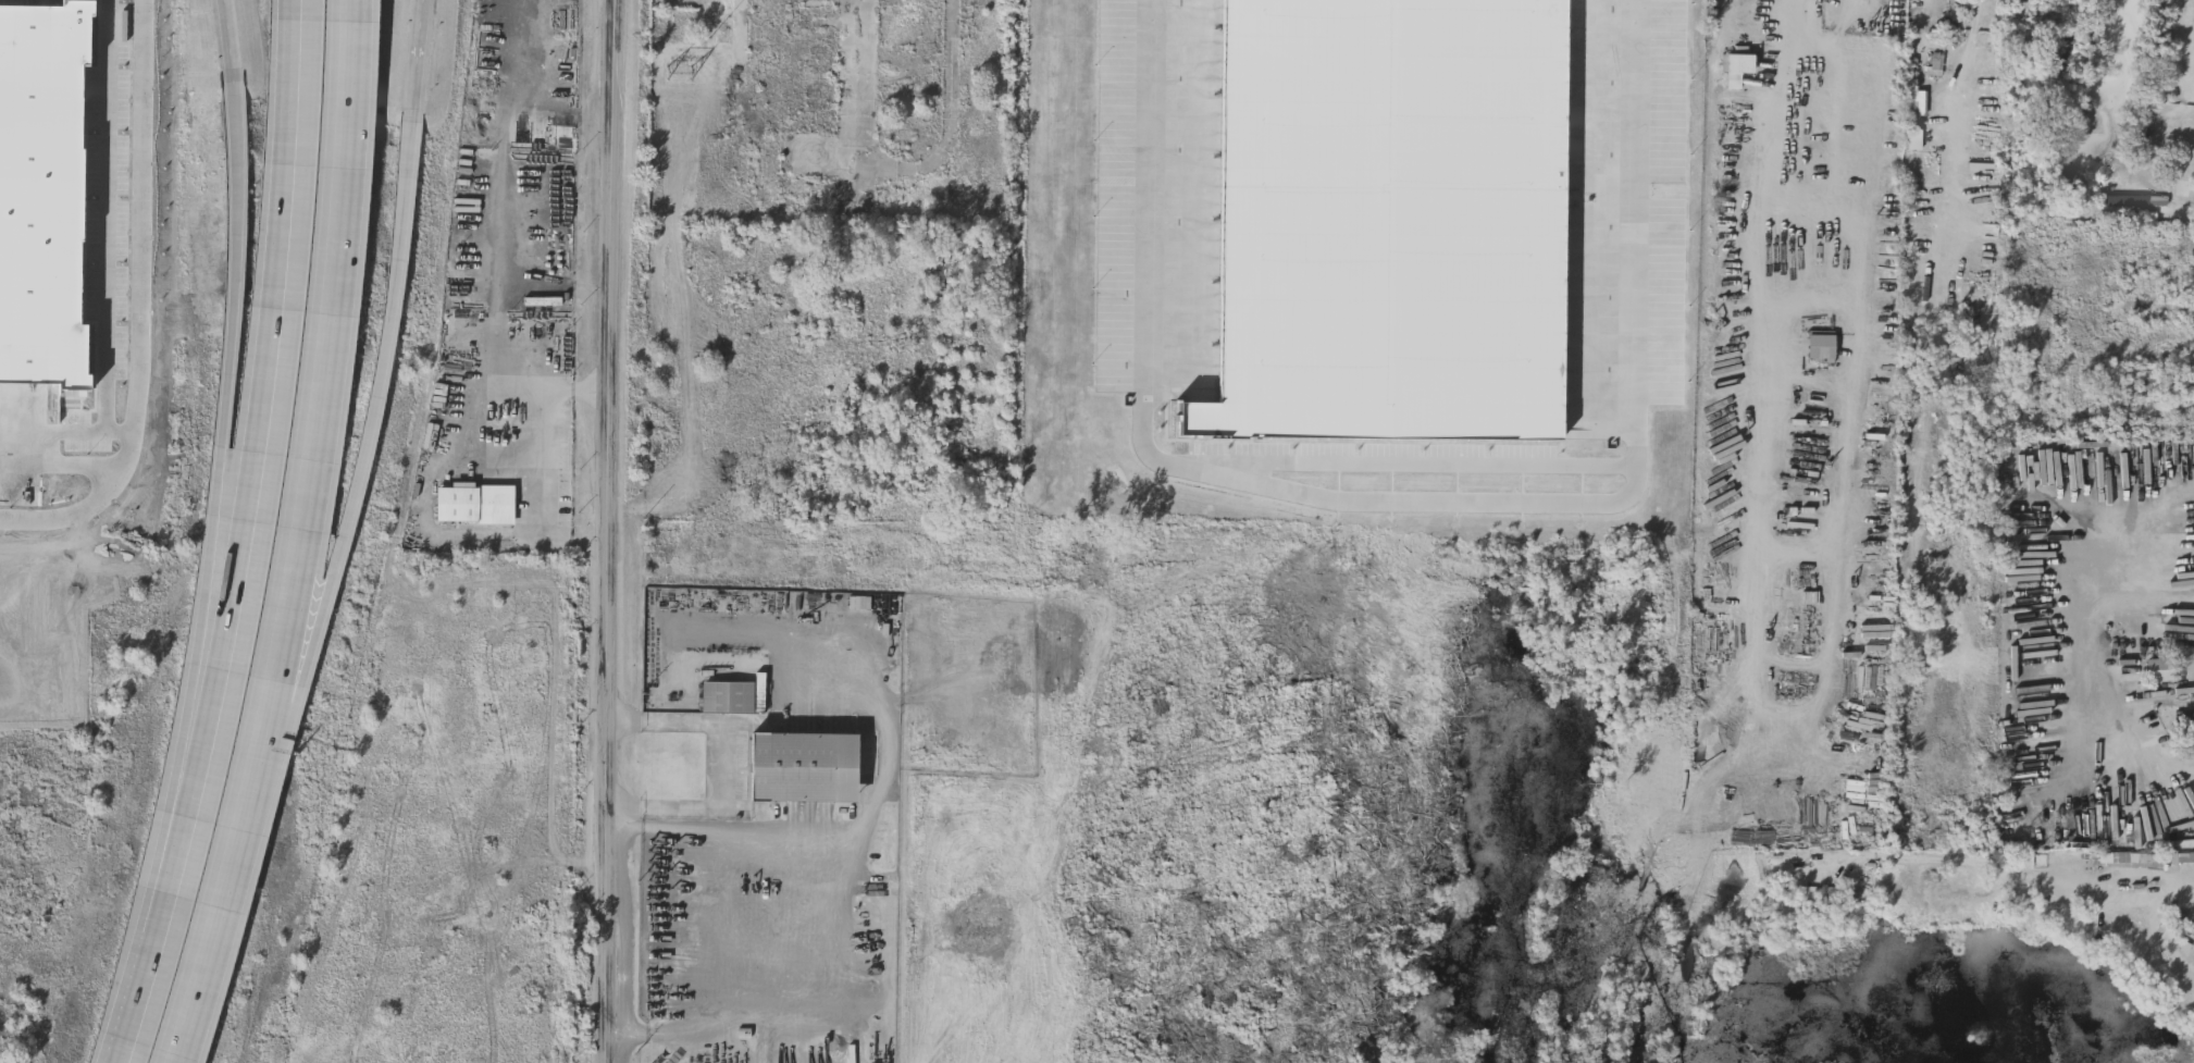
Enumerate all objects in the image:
road: (1811, 17)
building: (766, 30)
road: (233, 47)
road: (420, 61)
building: (818, 61)
building: (1739, 66)
building: (818, 98)
building: (1916, 107)
building: (2145, 203)
building: (1483, 224)
building: (2137, 234)
building: (2172, 286)
building: (2120, 330)
building: (2059, 338)
road: (322, 386)
road: (497, 431)
road: (371, 456)
road: (1405, 468)
road: (557, 473)
road: (257, 483)
building: (478, 505)
road: (215, 528)
road: (611, 531)
building: (2162, 670)
building: (736, 696)
road: (814, 700)
road: (950, 700)
road: (979, 713)
building: (2185, 724)
road: (723, 767)
building: (804, 768)
road: (889, 779)
building: (2154, 861)
road: (224, 917)
road: (714, 932)
road: (140, 1011)
road: (817, 1028)

